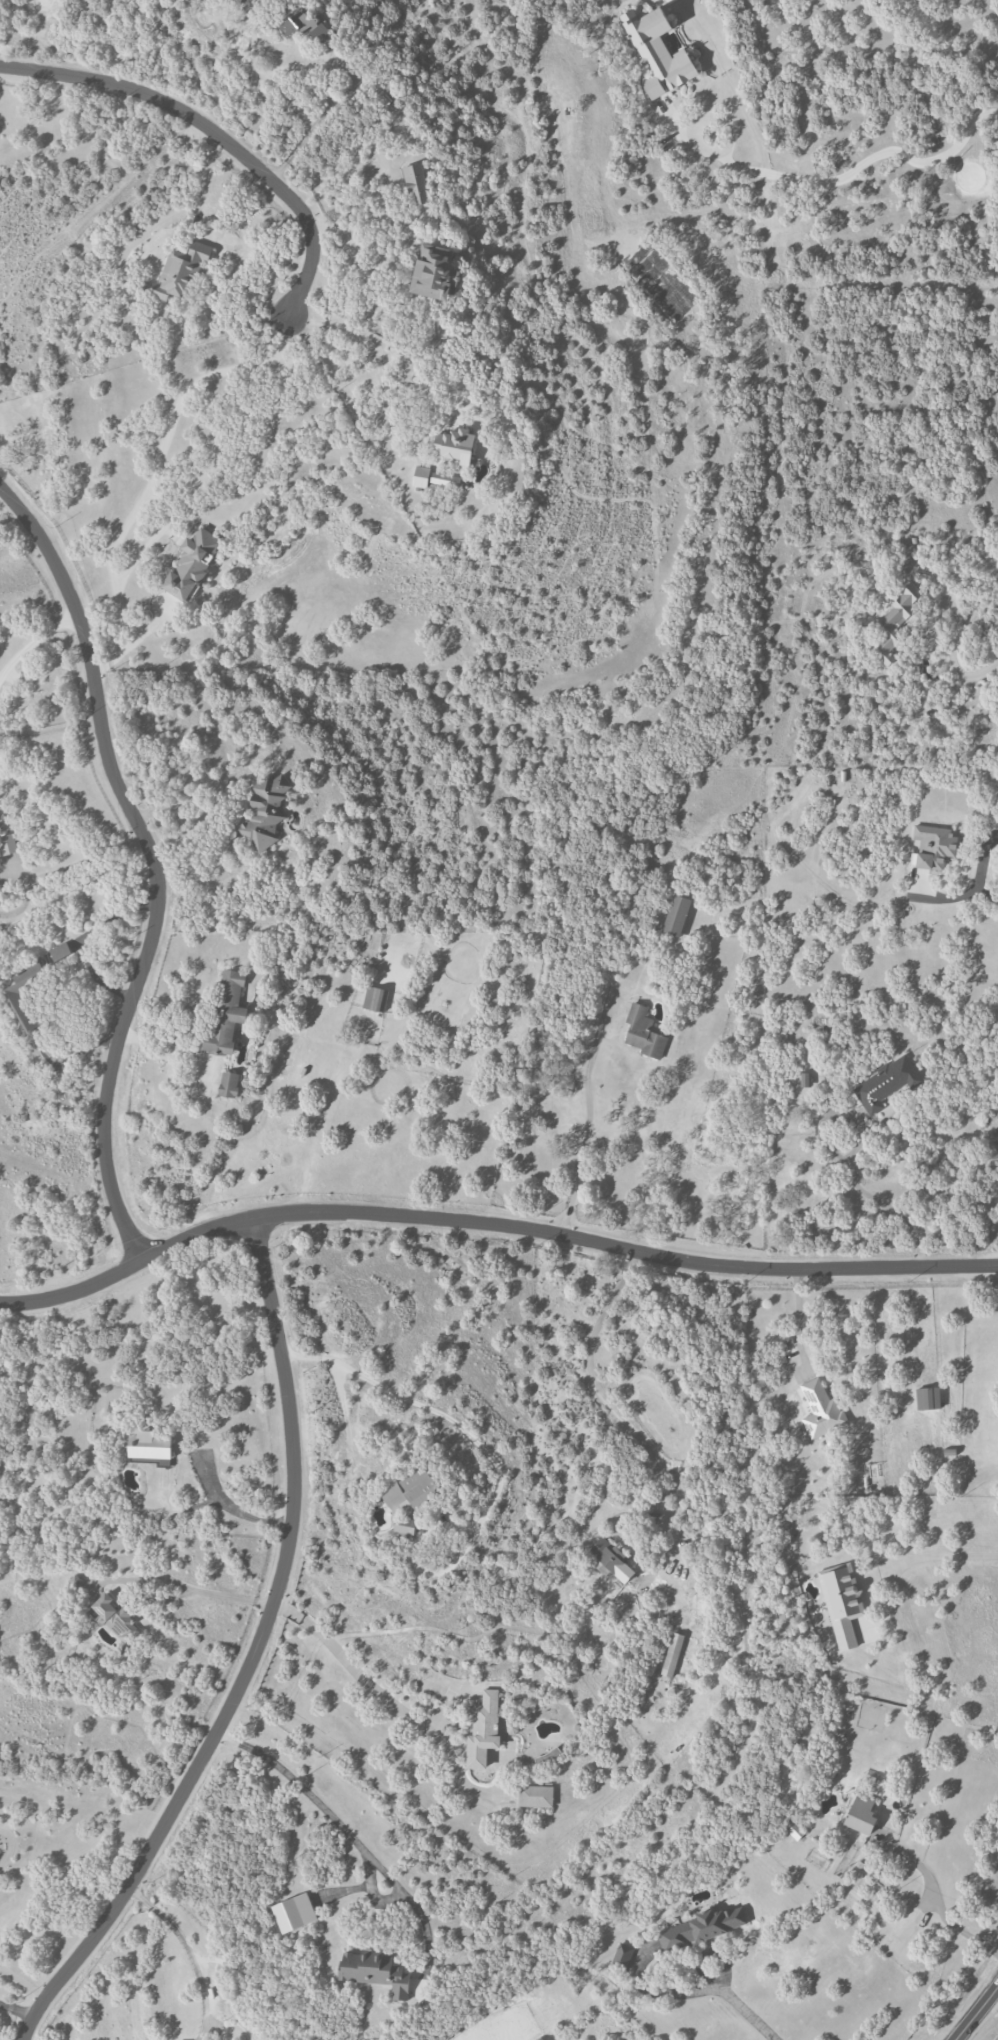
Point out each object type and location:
building: (307, 22)
building: (289, 27)
building: (321, 34)
building: (657, 51)
road: (328, 82)
road: (317, 119)
road: (213, 133)
road: (704, 149)
road: (815, 182)
building: (415, 184)
building: (181, 271)
building: (434, 272)
road: (419, 388)
building: (455, 445)
building: (434, 478)
building: (192, 564)
building: (893, 624)
road: (35, 639)
road: (953, 653)
building: (266, 811)
building: (7, 844)
building: (932, 846)
road: (153, 860)
road: (77, 867)
building: (676, 915)
building: (32, 983)
building: (227, 1013)
building: (365, 1023)
building: (643, 1032)
building: (805, 1079)
building: (229, 1084)
building: (884, 1084)
road: (588, 1117)
road: (852, 1156)
road: (491, 1224)
building: (928, 1397)
building: (820, 1409)
building: (150, 1445)
building: (409, 1497)
road: (232, 1500)
road: (917, 1557)
building: (609, 1559)
road: (190, 1587)
building: (842, 1602)
building: (116, 1617)
building: (672, 1654)
road: (253, 1655)
road: (359, 1671)
building: (483, 1729)
building: (790, 1754)
building: (535, 1795)
road: (318, 1798)
building: (861, 1814)
building: (795, 1831)
road: (935, 1902)
building: (294, 1912)
building: (694, 1930)
road: (192, 1948)
building: (622, 1955)
building: (374, 1971)
road: (23, 1982)
road: (16, 2011)
road: (746, 2011)
road: (976, 2013)

